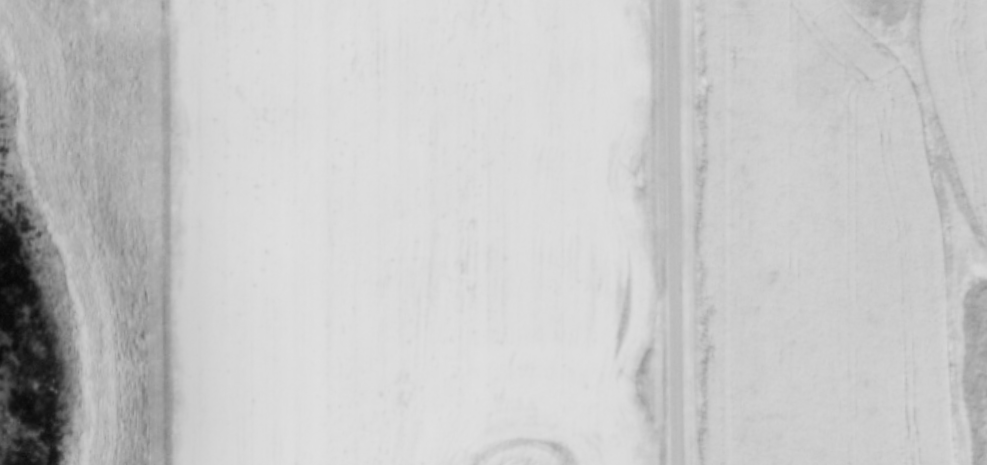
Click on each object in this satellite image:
road: (677, 232)

